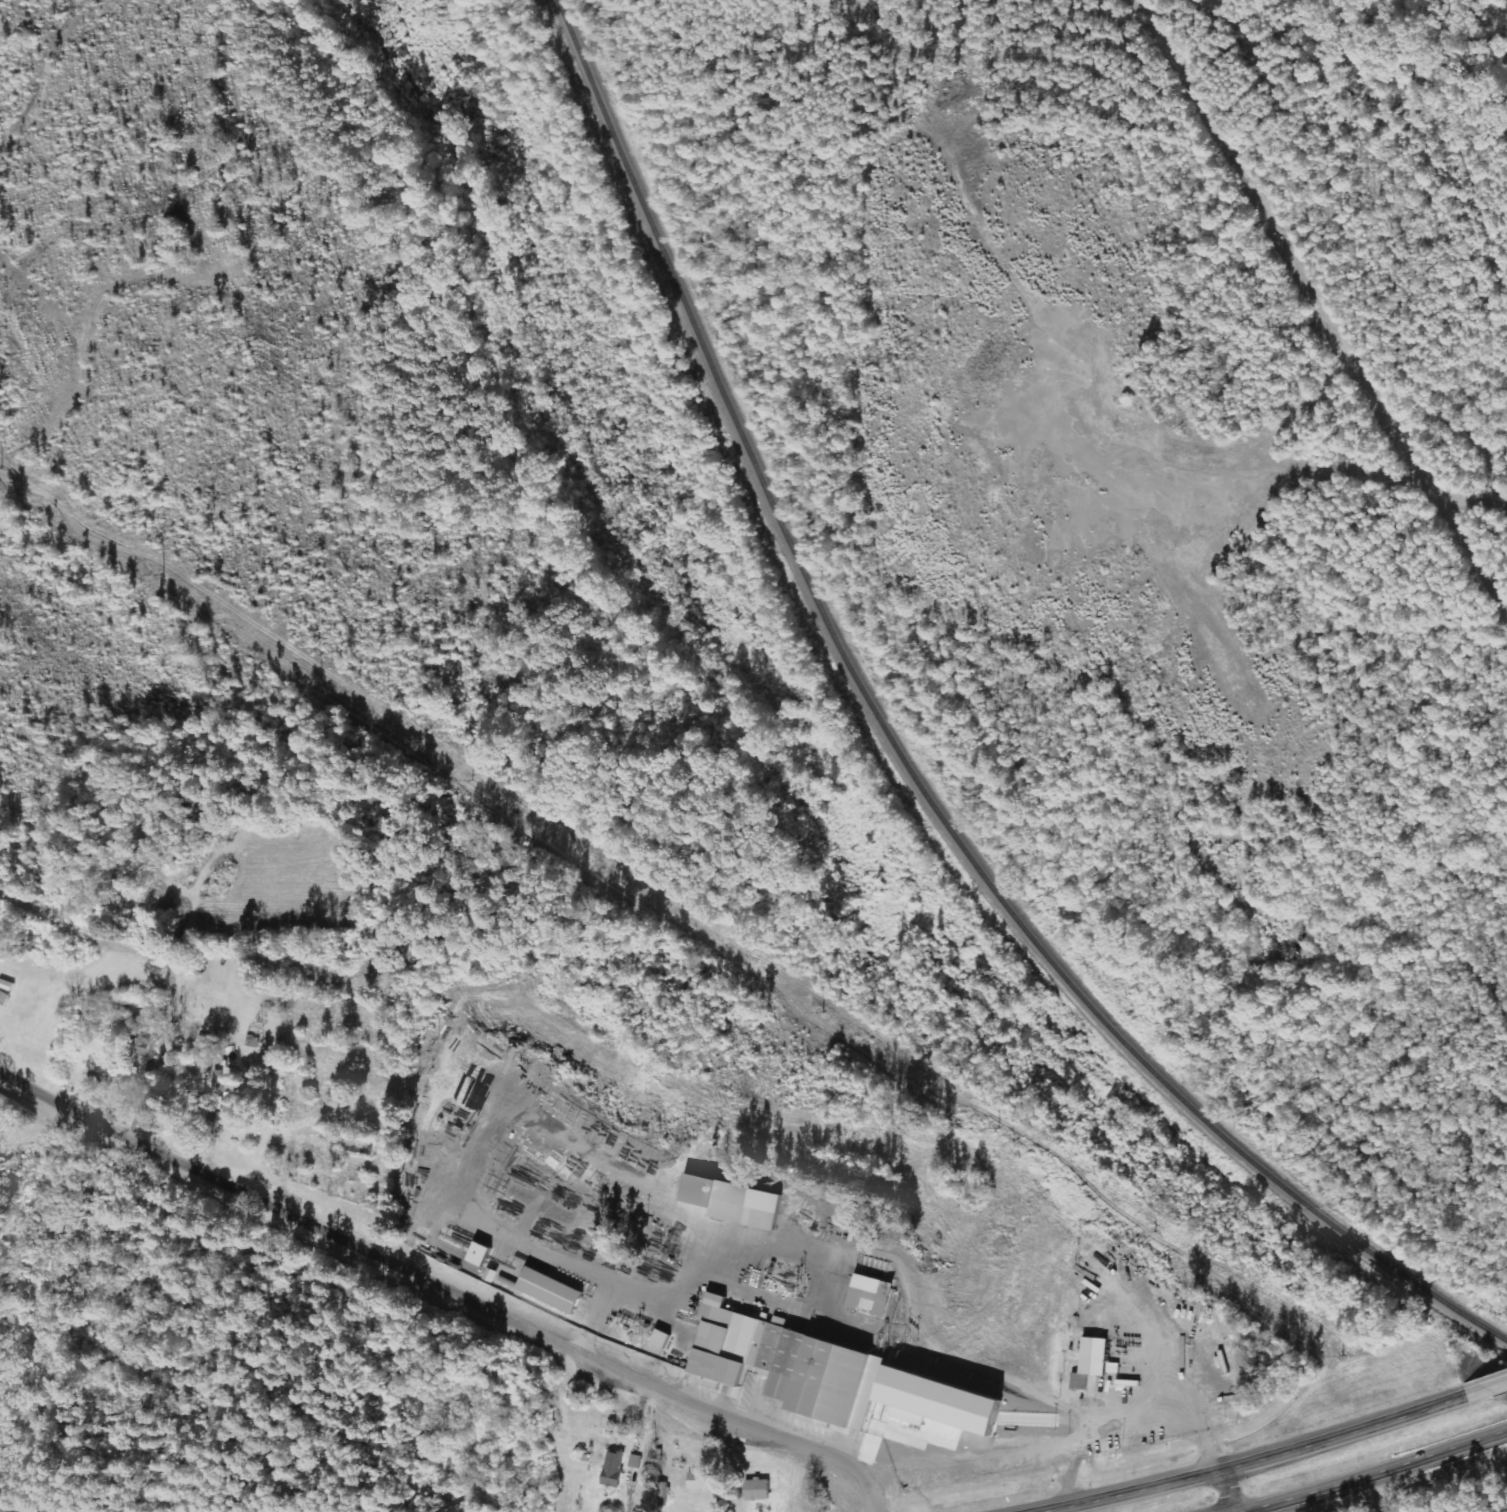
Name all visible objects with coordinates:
railway: (903, 762)
building: (0, 1011)
building: (205, 1052)
building: (132, 1054)
building: (219, 1079)
building: (242, 1105)
building: (732, 1202)
building: (485, 1254)
road: (446, 1289)
building: (556, 1291)
building: (877, 1295)
building: (665, 1339)
building: (1097, 1363)
building: (794, 1366)
road: (1499, 1378)
road: (1257, 1452)
building: (637, 1461)
building: (616, 1469)
road: (1368, 1469)
building: (703, 1483)
road: (1227, 1487)
building: (763, 1490)
road: (1234, 1511)

